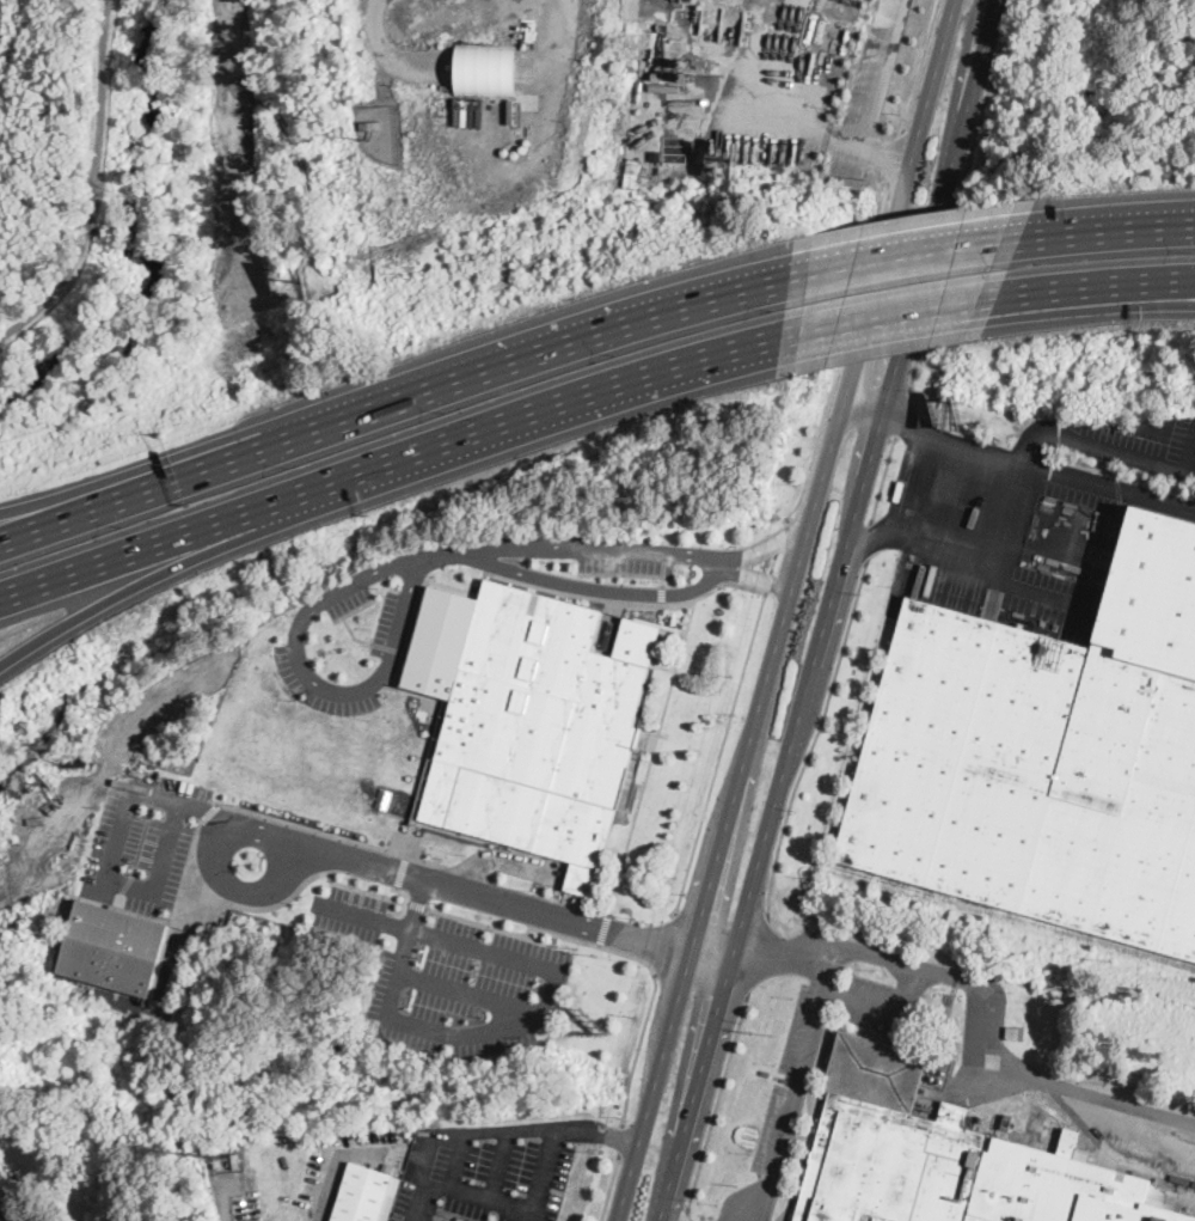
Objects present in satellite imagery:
road: (920, 65)
road: (968, 65)
building: (486, 68)
building: (372, 126)
road: (817, 128)
road: (887, 151)
road: (895, 157)
road: (93, 185)
road: (957, 195)
road: (1124, 218)
road: (1124, 228)
road: (1040, 232)
road: (900, 249)
road: (1104, 281)
road: (1166, 283)
road: (897, 307)
road: (839, 353)
road: (515, 358)
road: (865, 407)
road: (901, 415)
road: (950, 445)
road: (1189, 454)
road: (390, 456)
road: (1121, 456)
road: (129, 472)
road: (882, 481)
road: (130, 499)
road: (1011, 500)
road: (924, 531)
road: (866, 543)
road: (219, 547)
road: (627, 549)
road: (767, 549)
road: (776, 555)
road: (701, 558)
road: (625, 574)
road: (759, 580)
road: (663, 582)
road: (663, 596)
road: (589, 597)
road: (786, 610)
road: (831, 610)
road: (381, 677)
road: (662, 722)
building: (531, 724)
road: (814, 740)
road: (718, 756)
building: (1047, 757)
road: (435, 878)
road: (108, 880)
road: (243, 892)
road: (418, 903)
road: (417, 905)
railway: (1007, 915)
road: (540, 929)
road: (605, 930)
road: (541, 942)
road: (662, 945)
building: (114, 948)
road: (779, 957)
road: (755, 958)
road: (711, 960)
road: (471, 995)
road: (885, 1007)
road: (478, 1031)
building: (1017, 1034)
road: (992, 1045)
road: (637, 1049)
building: (934, 1070)
building: (943, 1073)
building: (932, 1079)
building: (940, 1081)
road: (792, 1093)
road: (715, 1104)
road: (1146, 1129)
road: (513, 1134)
road: (619, 1141)
building: (948, 1159)
road: (460, 1162)
road: (500, 1167)
road: (609, 1189)
building: (366, 1195)
road: (498, 1204)
road: (16, 1213)
road: (686, 1216)

